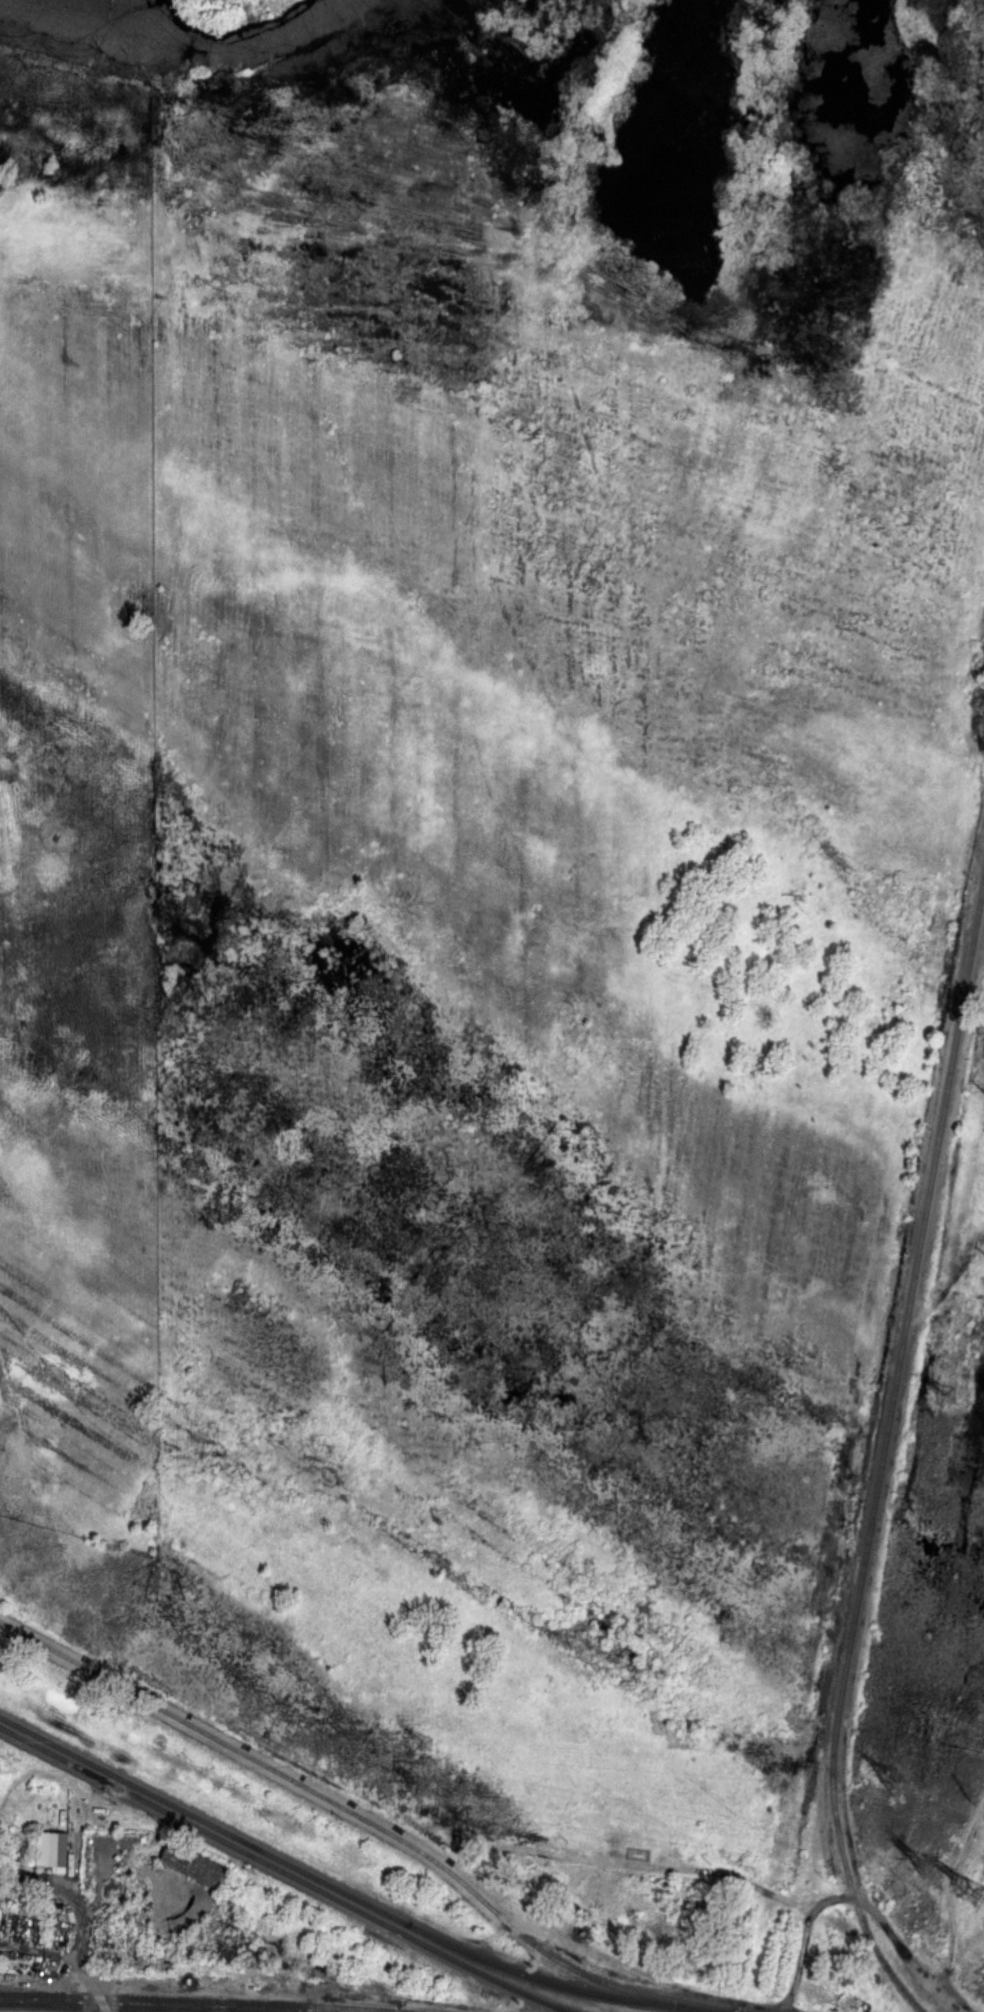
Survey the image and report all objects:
road: (223, 15)
railway: (912, 1288)
power tower: (946, 1394)
railway: (195, 1726)
power tower: (428, 1748)
power tower: (896, 1785)
power tower: (966, 1793)
power tower: (432, 1794)
building: (52, 1849)
building: (192, 1863)
railway: (846, 1865)
power tower: (926, 1870)
railway: (285, 1872)
power tower: (971, 1891)
railway: (350, 1895)
railway: (543, 1950)
road: (75, 1951)
railway: (39, 2001)
railway: (206, 2001)
railway: (214, 2006)
railway: (133, 2007)
railway: (237, 2011)

